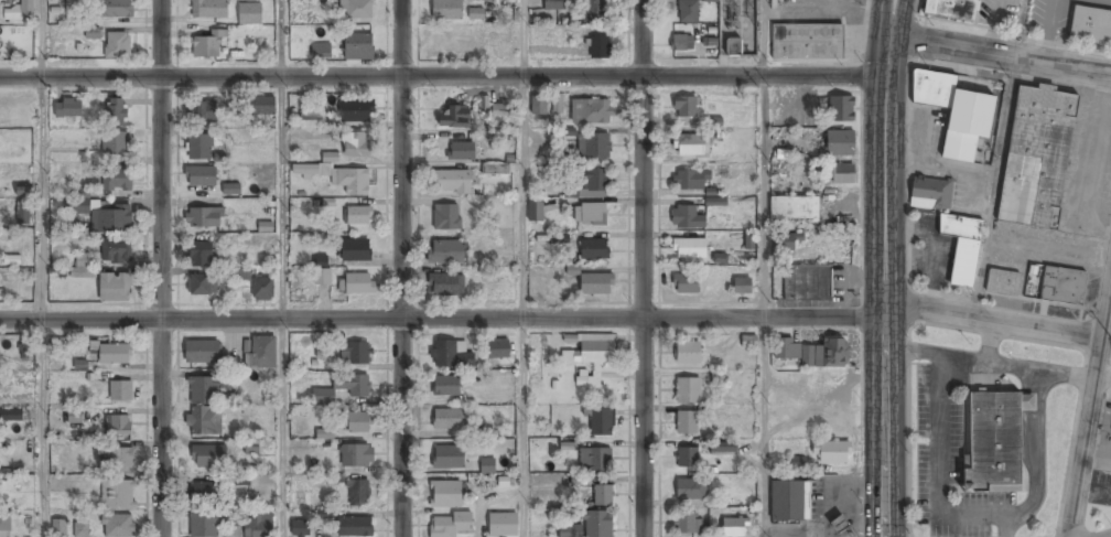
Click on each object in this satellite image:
building: (555, 4)
building: (115, 9)
building: (208, 9)
building: (356, 9)
building: (951, 9)
building: (20, 10)
building: (446, 10)
building: (597, 10)
building: (688, 11)
building: (250, 13)
building: (475, 13)
road: (892, 15)
building: (1090, 25)
road: (1021, 26)
building: (91, 32)
road: (42, 37)
road: (281, 37)
road: (525, 37)
road: (764, 37)
building: (500, 41)
building: (807, 41)
building: (682, 42)
building: (118, 45)
building: (600, 45)
building: (733, 45)
building: (206, 46)
building: (358, 46)
road: (1000, 50)
building: (321, 51)
road: (443, 76)
building: (557, 103)
building: (539, 105)
building: (260, 106)
building: (68, 108)
building: (498, 108)
building: (686, 108)
building: (841, 108)
building: (357, 110)
building: (591, 111)
building: (956, 111)
building: (116, 112)
building: (202, 112)
building: (454, 116)
building: (311, 119)
building: (841, 142)
building: (115, 144)
building: (355, 144)
building: (199, 146)
building: (594, 146)
building: (691, 146)
building: (461, 150)
building: (1037, 157)
building: (501, 169)
building: (841, 173)
building: (336, 174)
building: (199, 175)
building: (116, 179)
building: (453, 181)
building: (688, 181)
building: (592, 183)
road: (994, 184)
building: (231, 189)
building: (23, 191)
building: (931, 193)
building: (715, 202)
building: (795, 206)
building: (535, 210)
building: (590, 212)
building: (23, 213)
building: (105, 216)
building: (357, 216)
building: (446, 216)
building: (203, 217)
building: (687, 217)
building: (748, 240)
building: (788, 241)
building: (690, 247)
building: (962, 247)
building: (594, 249)
building: (116, 250)
building: (356, 250)
building: (446, 251)
building: (199, 254)
building: (82, 267)
road: (160, 268)
road: (402, 268)
road: (644, 268)
building: (323, 270)
building: (240, 273)
building: (686, 282)
building: (808, 282)
building: (1003, 282)
building: (201, 283)
building: (358, 283)
building: (596, 283)
road: (884, 283)
building: (446, 284)
building: (743, 284)
building: (1063, 284)
building: (115, 288)
building: (263, 288)
road: (42, 305)
road: (283, 305)
road: (764, 305)
road: (526, 307)
road: (442, 319)
road: (997, 320)
building: (748, 341)
building: (93, 347)
building: (24, 348)
building: (590, 348)
building: (787, 348)
building: (498, 350)
building: (202, 352)
building: (688, 352)
building: (832, 352)
building: (116, 353)
building: (260, 353)
building: (356, 354)
building: (451, 354)
building: (718, 376)
building: (446, 385)
building: (341, 388)
building: (688, 389)
building: (120, 390)
building: (204, 406)
road: (1092, 409)
building: (11, 416)
building: (76, 416)
building: (449, 419)
building: (601, 421)
building: (358, 422)
building: (687, 422)
building: (118, 425)
building: (324, 433)
building: (1000, 441)
building: (567, 447)
building: (249, 448)
building: (724, 448)
building: (833, 452)
building: (356, 455)
building: (116, 457)
building: (207, 457)
building: (447, 457)
building: (687, 458)
building: (595, 460)
building: (797, 463)
building: (489, 465)
building: (239, 480)
building: (692, 490)
building: (203, 491)
building: (357, 492)
building: (445, 494)
building: (118, 495)
building: (603, 495)
building: (787, 501)
building: (4, 523)
building: (840, 523)
building: (205, 524)
building: (449, 524)
building: (503, 524)
building: (598, 524)
building: (689, 524)
building: (258, 525)
building: (117, 526)
building: (355, 526)
building: (735, 527)
building: (58, 528)
building: (300, 528)
building: (80, 529)
building: (570, 530)

